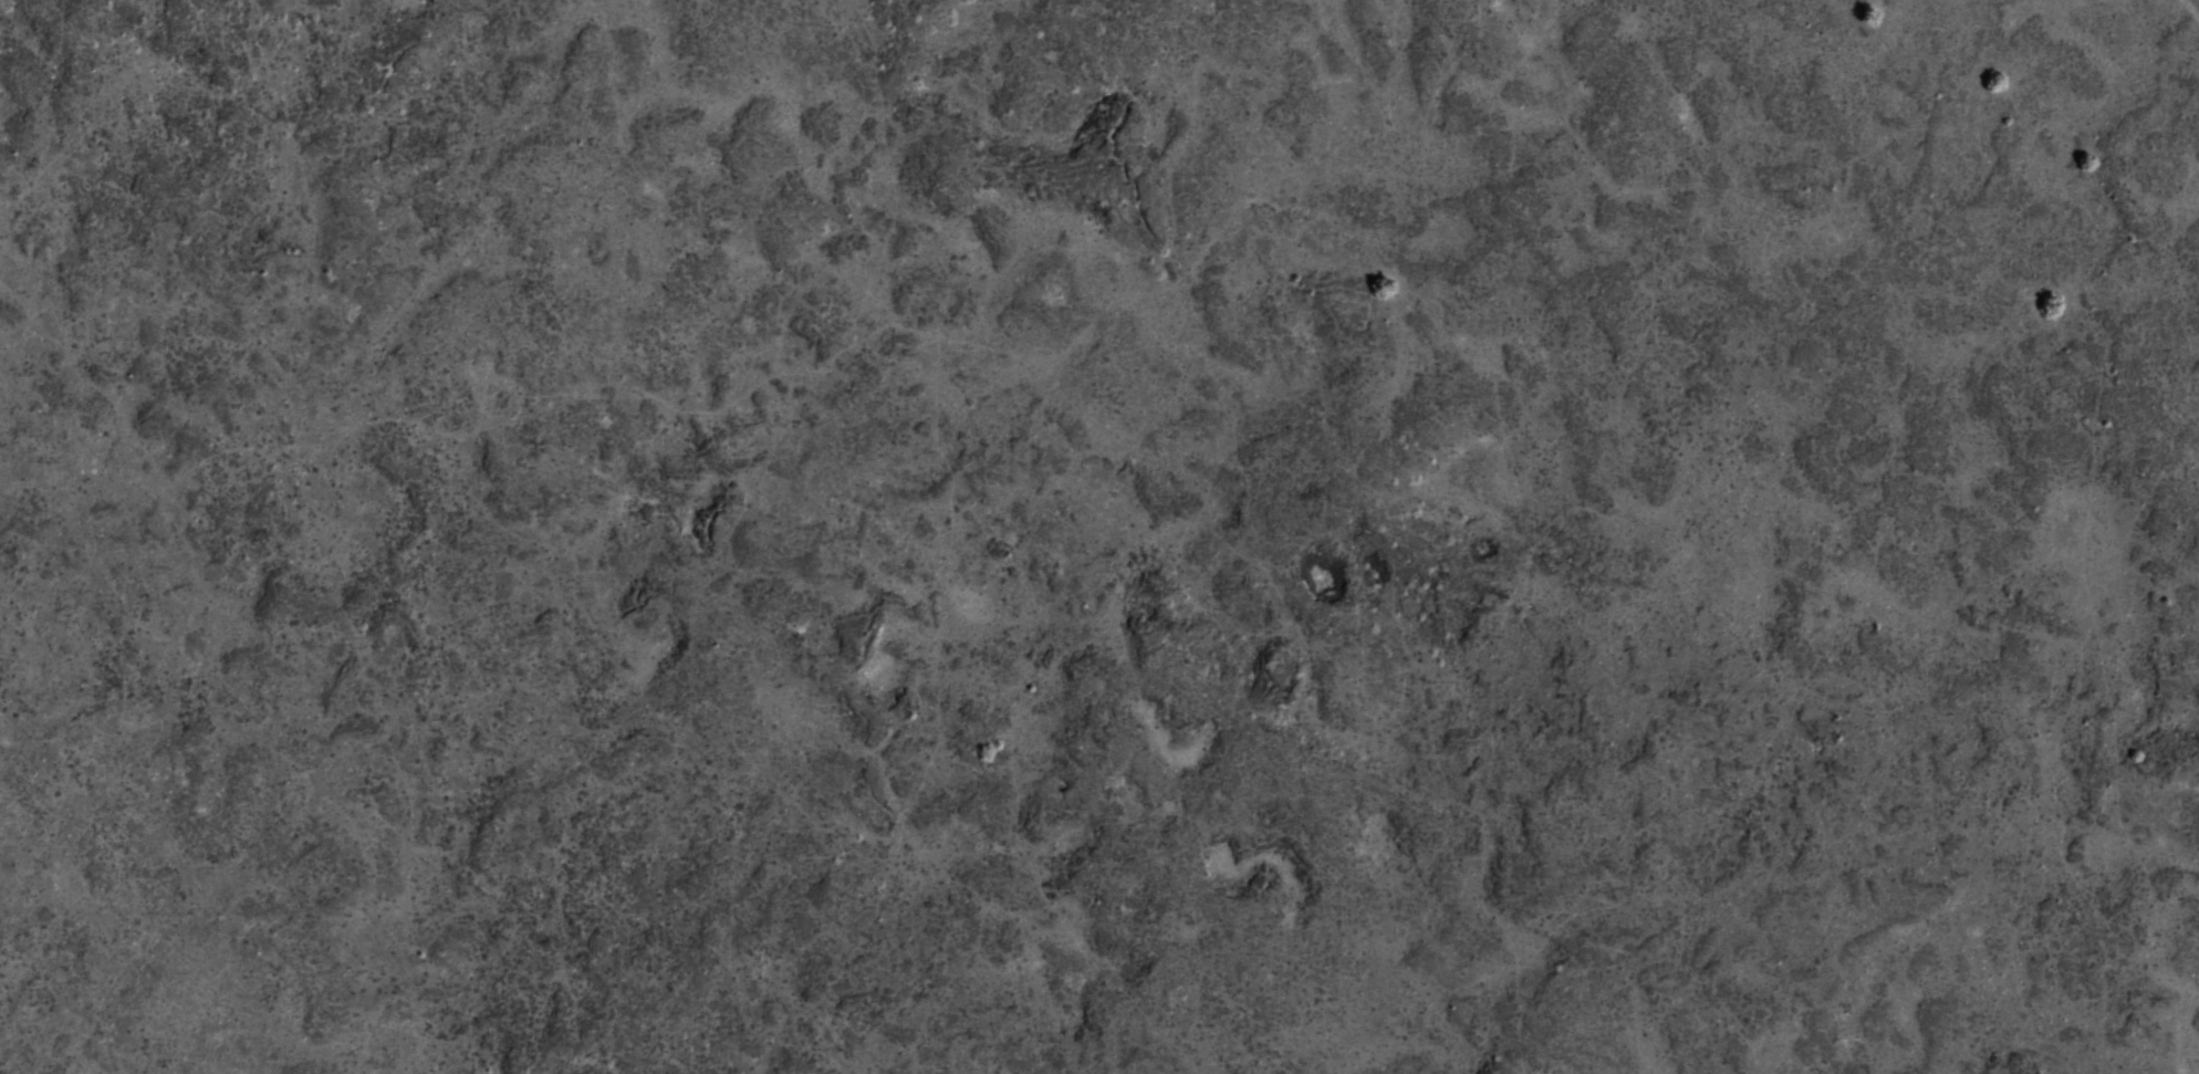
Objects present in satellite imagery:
road: (2191, 8)

